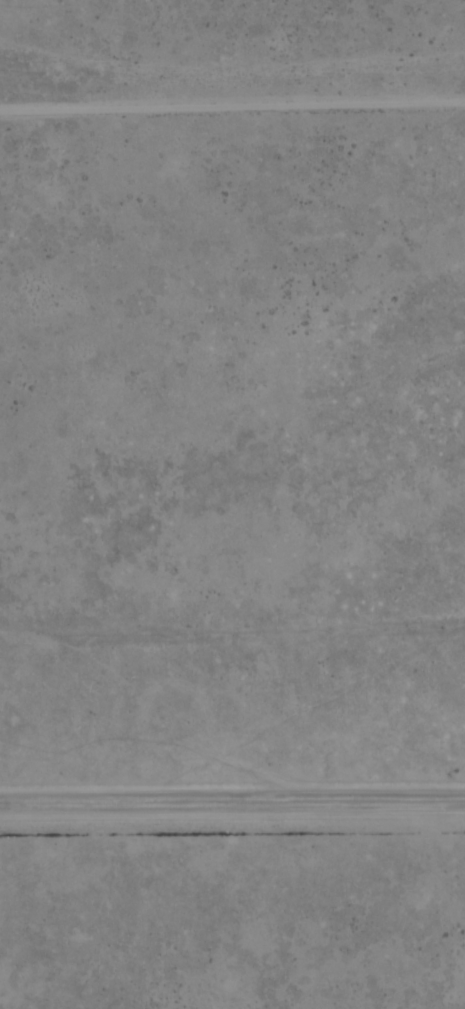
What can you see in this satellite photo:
road: (232, 809)

